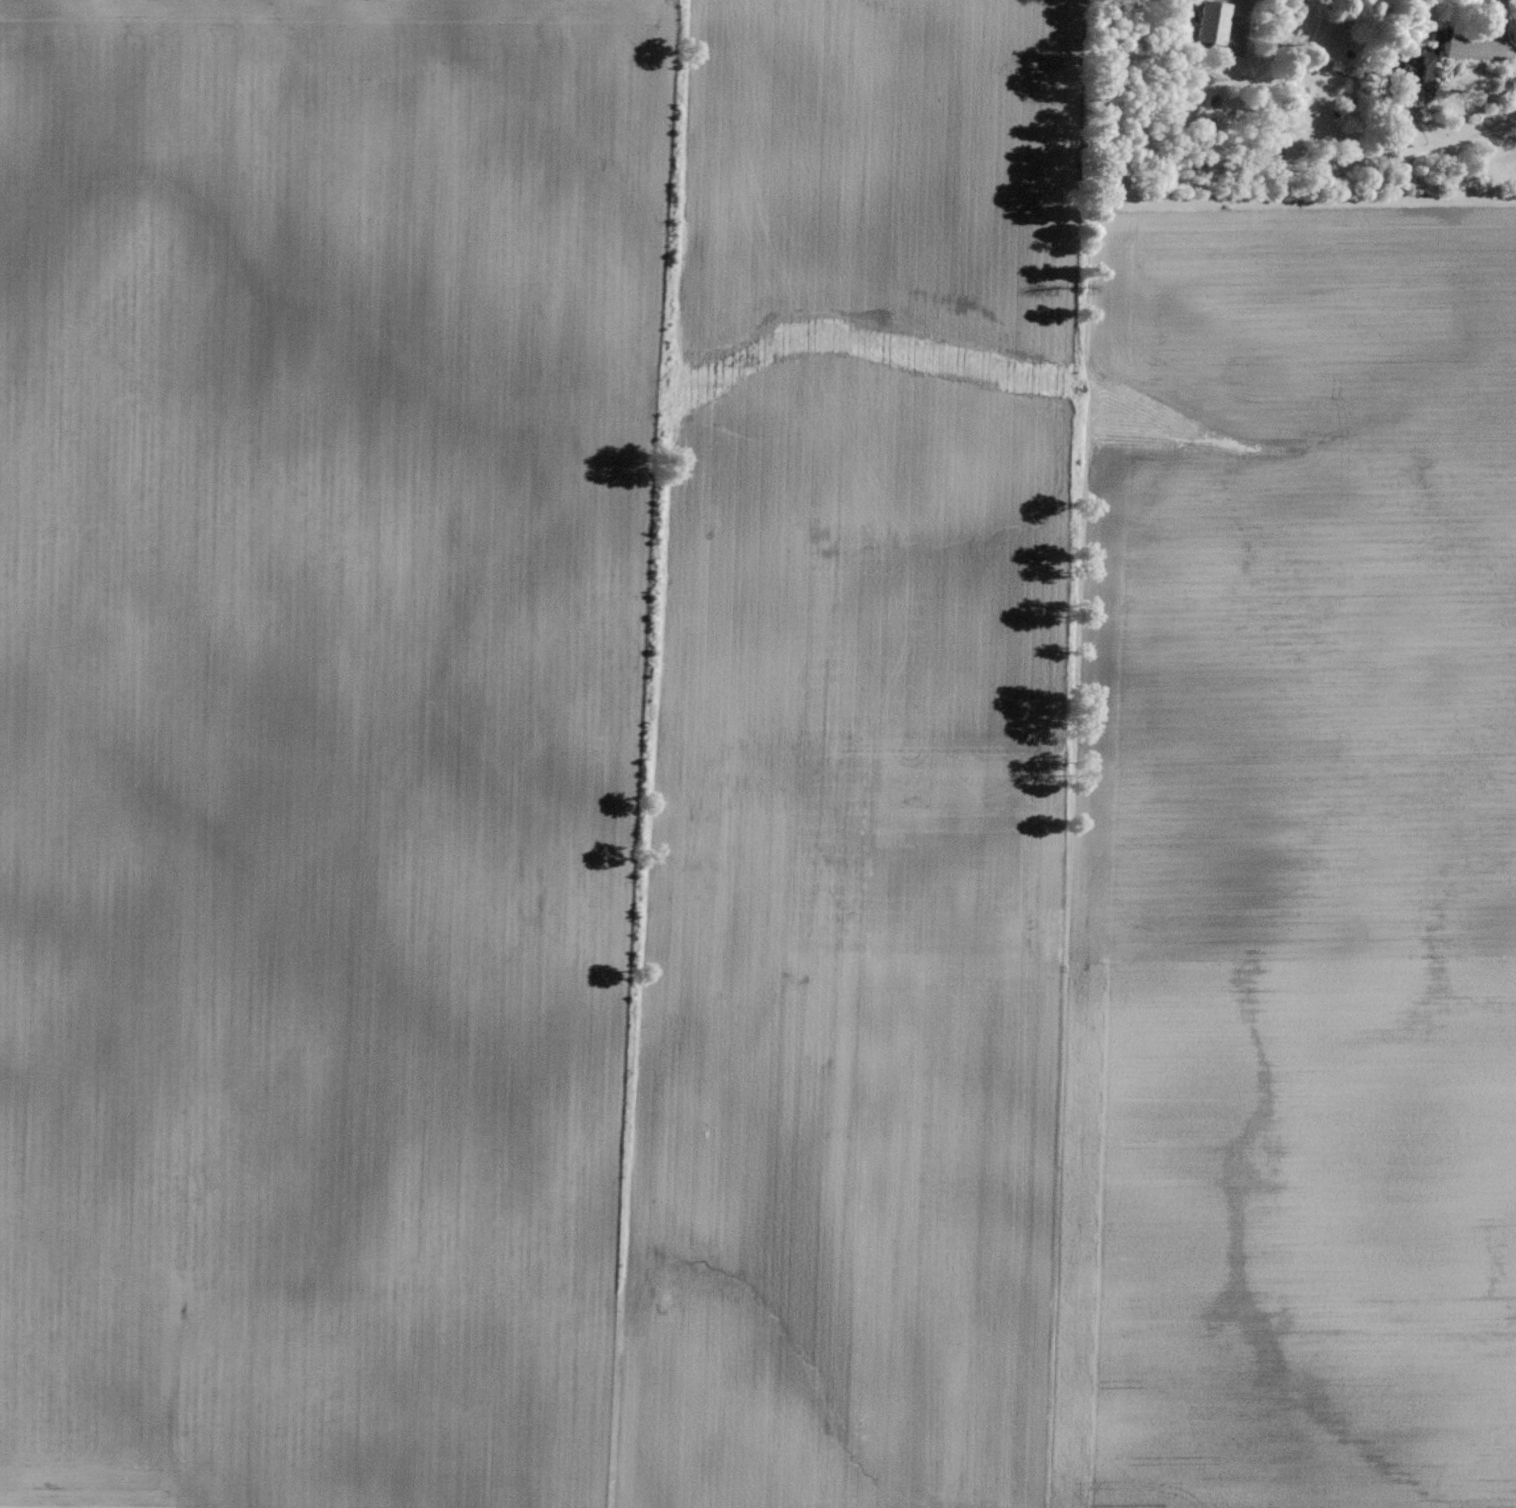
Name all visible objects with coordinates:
building: (1207, 22)
road: (1494, 52)
building: (1416, 63)

